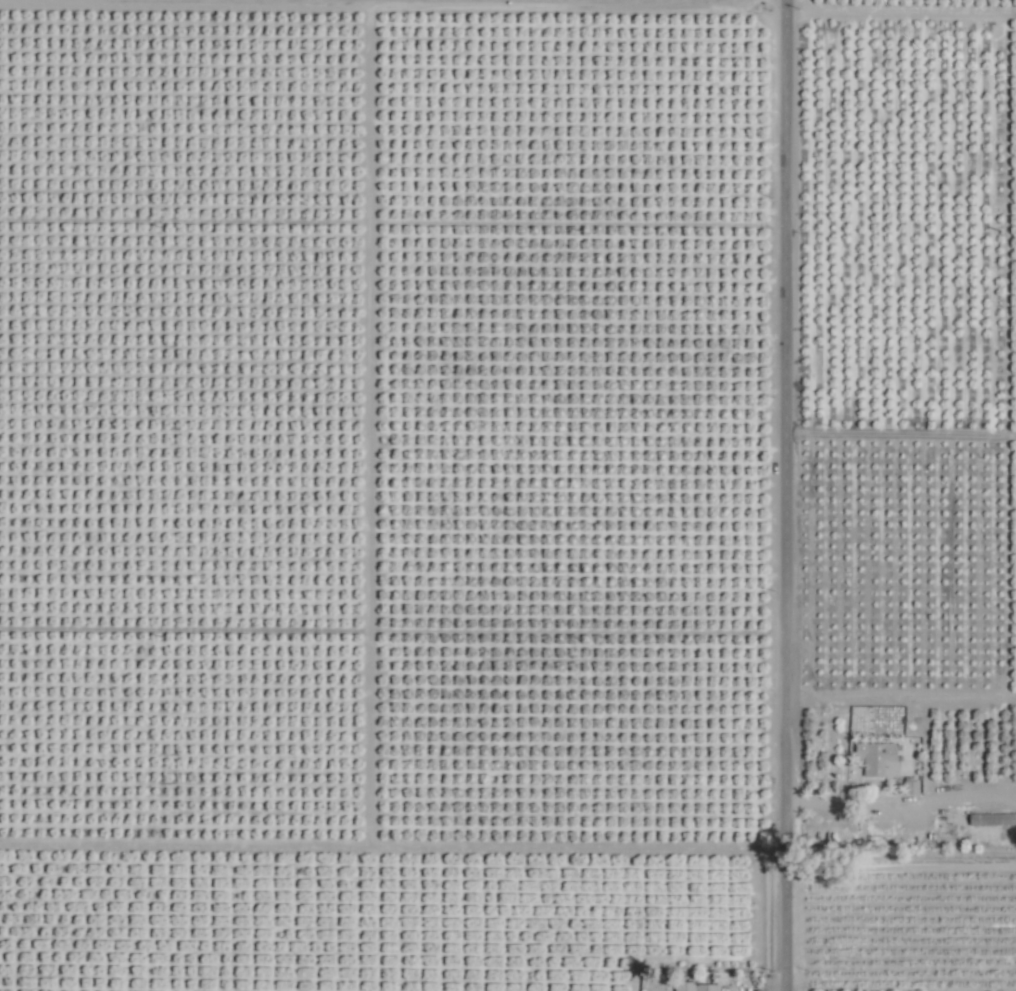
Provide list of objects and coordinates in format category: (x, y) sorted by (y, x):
crop: (508, 495)
road: (787, 495)
building: (876, 758)
building: (910, 787)
road: (896, 804)
building: (992, 818)
building: (694, 986)

